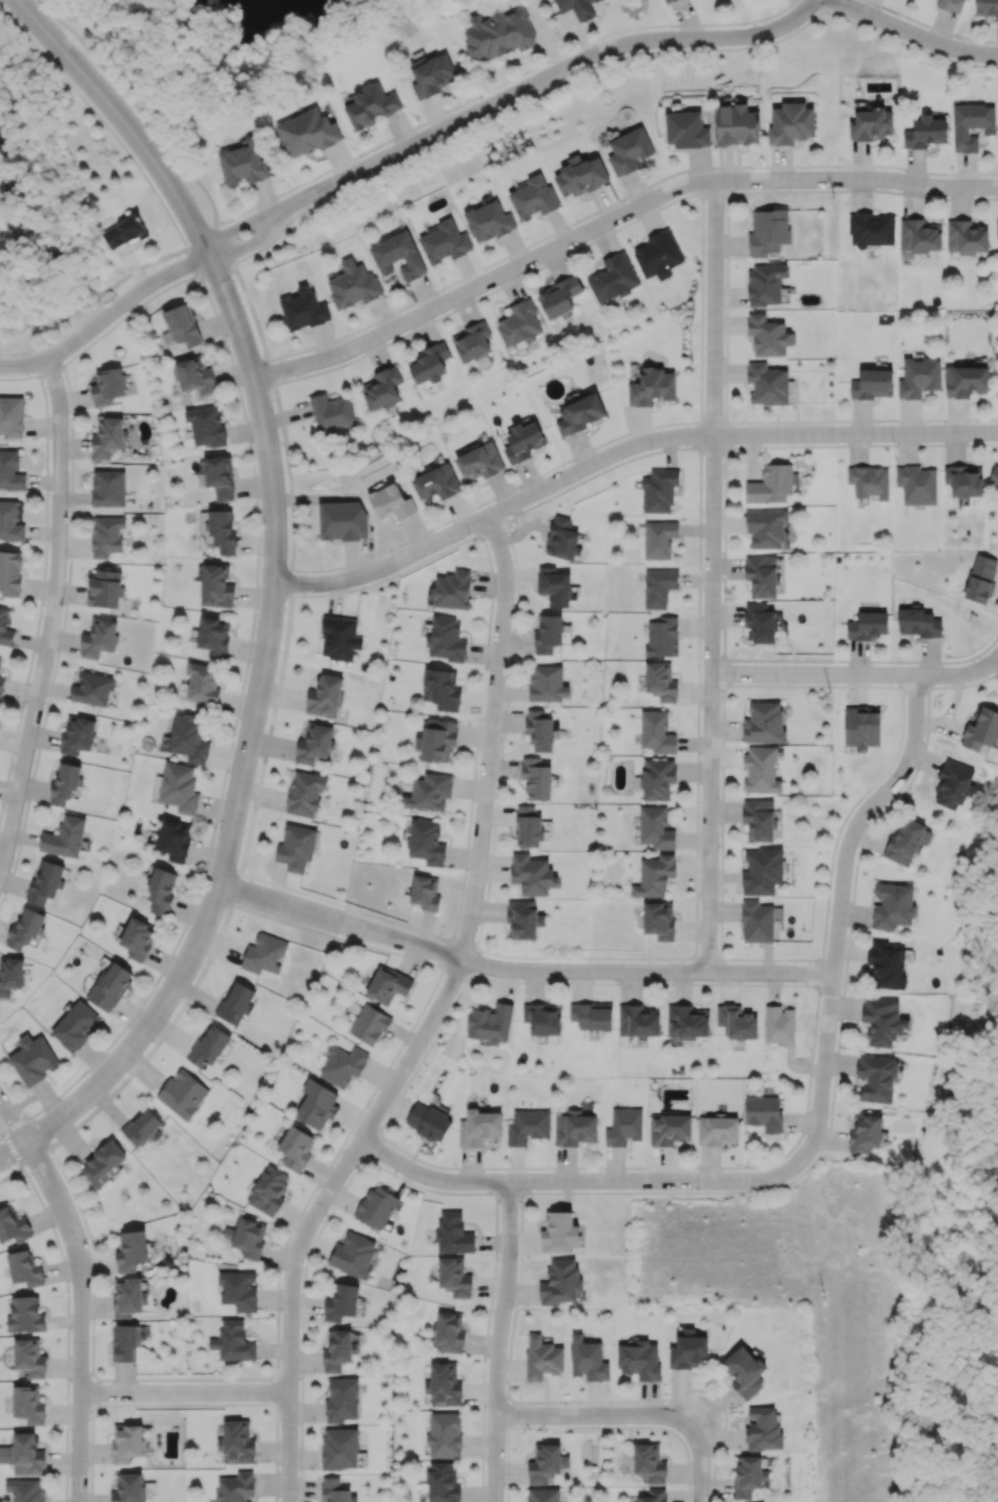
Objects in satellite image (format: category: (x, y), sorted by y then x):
building: (666, 0)
road: (834, 1)
building: (950, 5)
building: (577, 8)
building: (986, 8)
road: (910, 33)
building: (498, 34)
building: (432, 75)
road: (499, 86)
road: (509, 100)
building: (371, 105)
road: (137, 110)
building: (791, 123)
building: (737, 124)
building: (871, 124)
building: (971, 125)
building: (686, 130)
building: (307, 132)
building: (925, 132)
building: (629, 151)
building: (242, 163)
building: (580, 175)
building: (533, 197)
building: (488, 221)
road: (617, 222)
building: (871, 229)
building: (997, 229)
building: (768, 231)
building: (125, 232)
building: (919, 235)
building: (966, 237)
building: (445, 242)
building: (398, 255)
building: (658, 255)
building: (613, 278)
building: (352, 284)
building: (765, 284)
road: (110, 286)
building: (559, 297)
building: (303, 308)
road: (106, 323)
building: (519, 323)
building: (180, 327)
building: (768, 335)
road: (59, 338)
building: (472, 342)
building: (428, 363)
building: (195, 377)
building: (919, 377)
building: (965, 381)
building: (767, 384)
building: (872, 384)
building: (107, 387)
building: (383, 387)
building: (651, 387)
building: (331, 413)
building: (579, 414)
building: (11, 416)
building: (206, 426)
building: (107, 436)
building: (523, 442)
road: (626, 453)
building: (479, 462)
building: (11, 470)
building: (994, 475)
building: (220, 477)
building: (964, 480)
building: (869, 481)
building: (436, 483)
building: (770, 484)
building: (916, 484)
building: (108, 488)
building: (659, 490)
building: (391, 502)
building: (342, 520)
building: (10, 522)
building: (766, 528)
building: (220, 531)
building: (106, 535)
building: (562, 539)
building: (658, 539)
building: (10, 572)
building: (761, 576)
road: (718, 579)
building: (981, 579)
road: (278, 584)
building: (216, 586)
building: (554, 586)
building: (658, 587)
building: (105, 588)
building: (451, 590)
road: (51, 615)
building: (760, 622)
building: (918, 623)
building: (868, 625)
building: (5, 628)
building: (548, 634)
building: (214, 636)
building: (662, 637)
building: (98, 638)
building: (339, 638)
building: (446, 639)
building: (0, 658)
road: (997, 658)
road: (859, 673)
building: (660, 681)
building: (547, 683)
building: (1, 685)
building: (202, 685)
building: (92, 688)
building: (441, 689)
building: (325, 696)
building: (764, 723)
building: (862, 727)
building: (539, 730)
building: (981, 730)
building: (656, 732)
building: (77, 734)
building: (188, 738)
building: (438, 739)
building: (314, 742)
road: (267, 745)
building: (761, 770)
building: (537, 778)
building: (658, 778)
building: (65, 782)
building: (953, 784)
building: (179, 788)
building: (429, 792)
building: (305, 793)
building: (759, 819)
building: (528, 827)
building: (655, 828)
building: (65, 837)
building: (174, 839)
building: (907, 841)
building: (426, 842)
building: (296, 847)
building: (762, 871)
building: (532, 874)
building: (654, 876)
building: (46, 882)
building: (161, 891)
building: (425, 892)
road: (845, 904)
building: (892, 905)
building: (523, 919)
building: (659, 920)
building: (757, 921)
building: (25, 928)
building: (138, 938)
building: (264, 954)
building: (885, 965)
road: (522, 971)
building: (11, 975)
building: (388, 984)
building: (110, 986)
building: (235, 1003)
building: (592, 1016)
building: (543, 1018)
road: (435, 1021)
building: (638, 1021)
building: (687, 1021)
building: (883, 1021)
building: (736, 1022)
building: (369, 1024)
building: (779, 1024)
building: (74, 1026)
building: (208, 1046)
building: (33, 1059)
building: (342, 1065)
building: (876, 1078)
building: (182, 1093)
building: (316, 1104)
building: (764, 1112)
building: (428, 1121)
building: (527, 1126)
building: (624, 1126)
building: (143, 1127)
building: (478, 1127)
building: (574, 1128)
building: (669, 1129)
building: (717, 1129)
building: (864, 1132)
building: (296, 1147)
building: (103, 1164)
road: (588, 1182)
building: (268, 1190)
building: (376, 1207)
building: (13, 1226)
building: (559, 1232)
building: (453, 1233)
building: (245, 1237)
building: (131, 1251)
building: (354, 1255)
building: (25, 1268)
building: (454, 1277)
building: (561, 1282)
building: (238, 1290)
road: (87, 1292)
building: (127, 1296)
building: (341, 1302)
building: (26, 1315)
building: (449, 1333)
building: (232, 1341)
road: (507, 1342)
building: (338, 1350)
building: (688, 1350)
building: (29, 1357)
building: (542, 1357)
building: (587, 1359)
building: (639, 1360)
building: (744, 1372)
building: (443, 1385)
road: (190, 1391)
building: (341, 1400)
building: (28, 1404)
road: (599, 1416)
building: (763, 1429)
building: (443, 1434)
building: (126, 1442)
building: (236, 1442)
building: (339, 1448)
building: (24, 1454)
building: (649, 1463)
road: (706, 1463)
building: (547, 1464)
building: (749, 1475)
building: (442, 1482)
building: (235, 1487)
building: (128, 1488)
building: (25, 1489)
building: (335, 1490)
building: (542, 1494)
building: (653, 1495)

